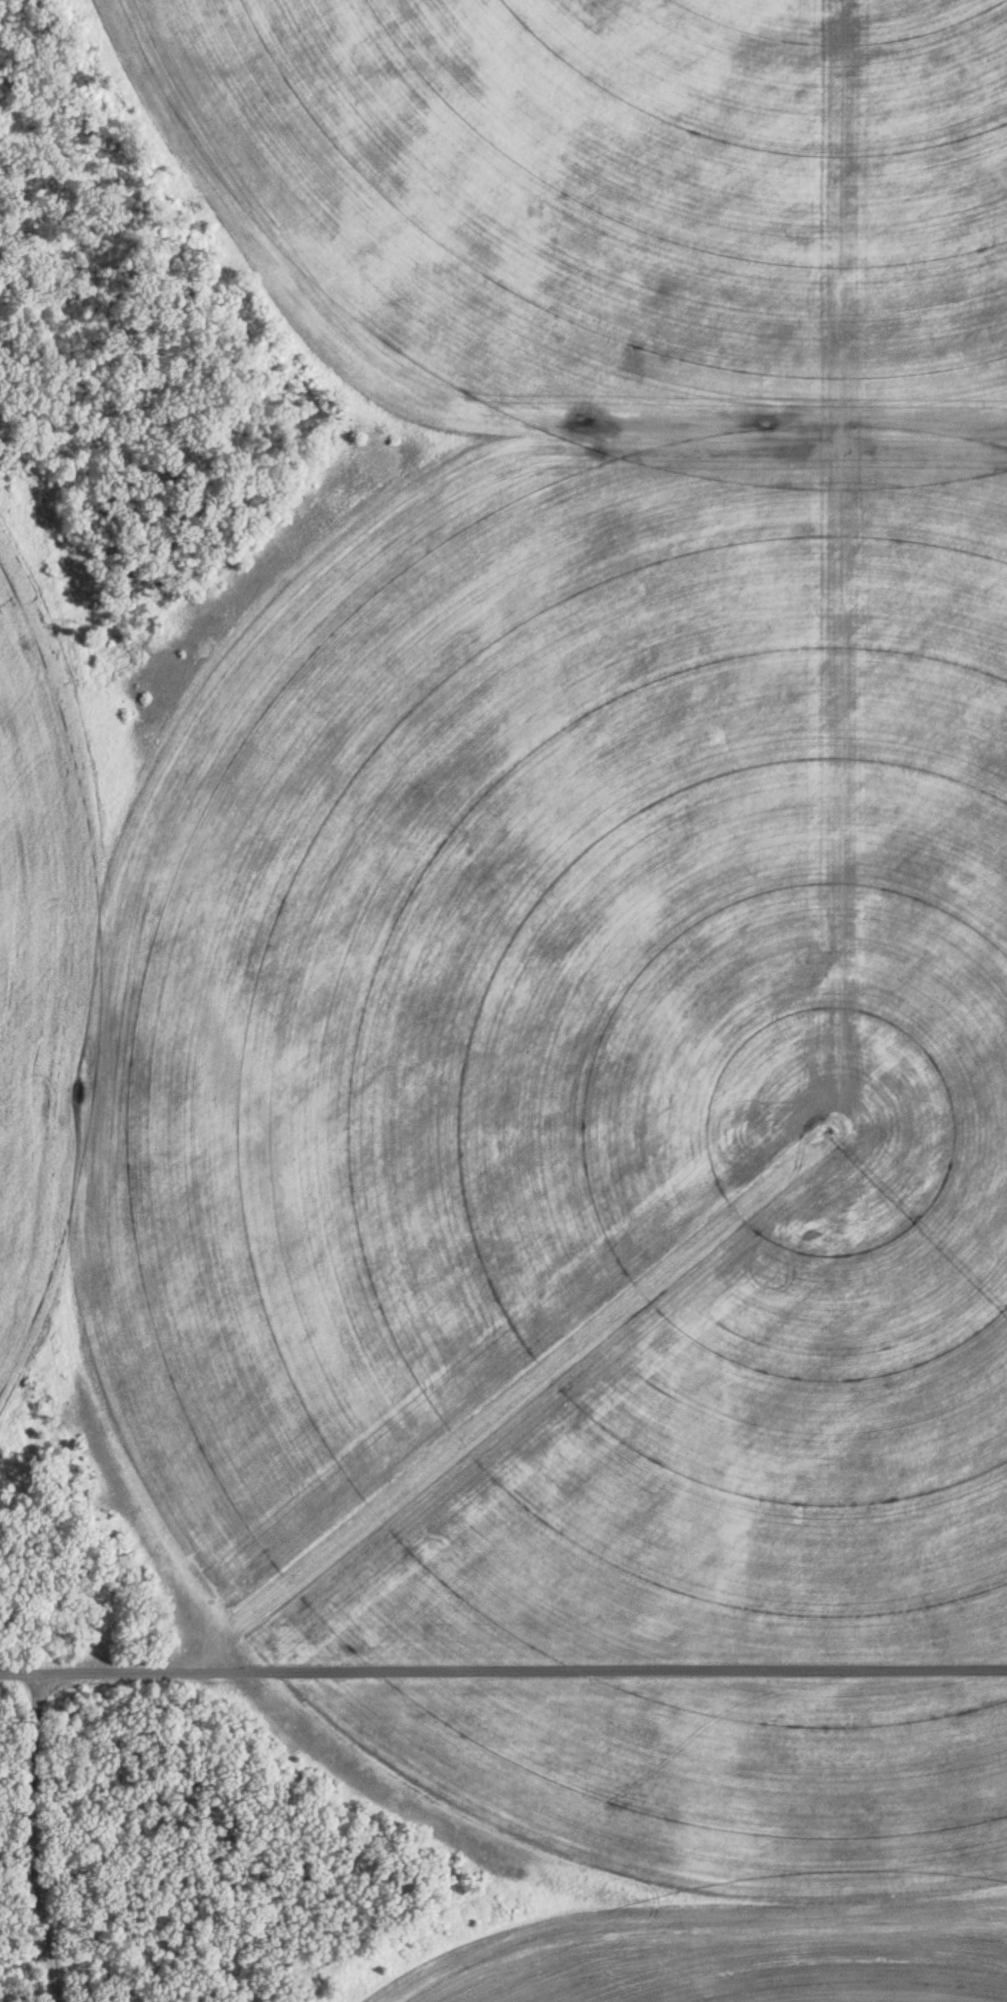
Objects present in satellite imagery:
wastewater plant: (503, 1001)
road: (503, 1671)
road: (33, 1837)

